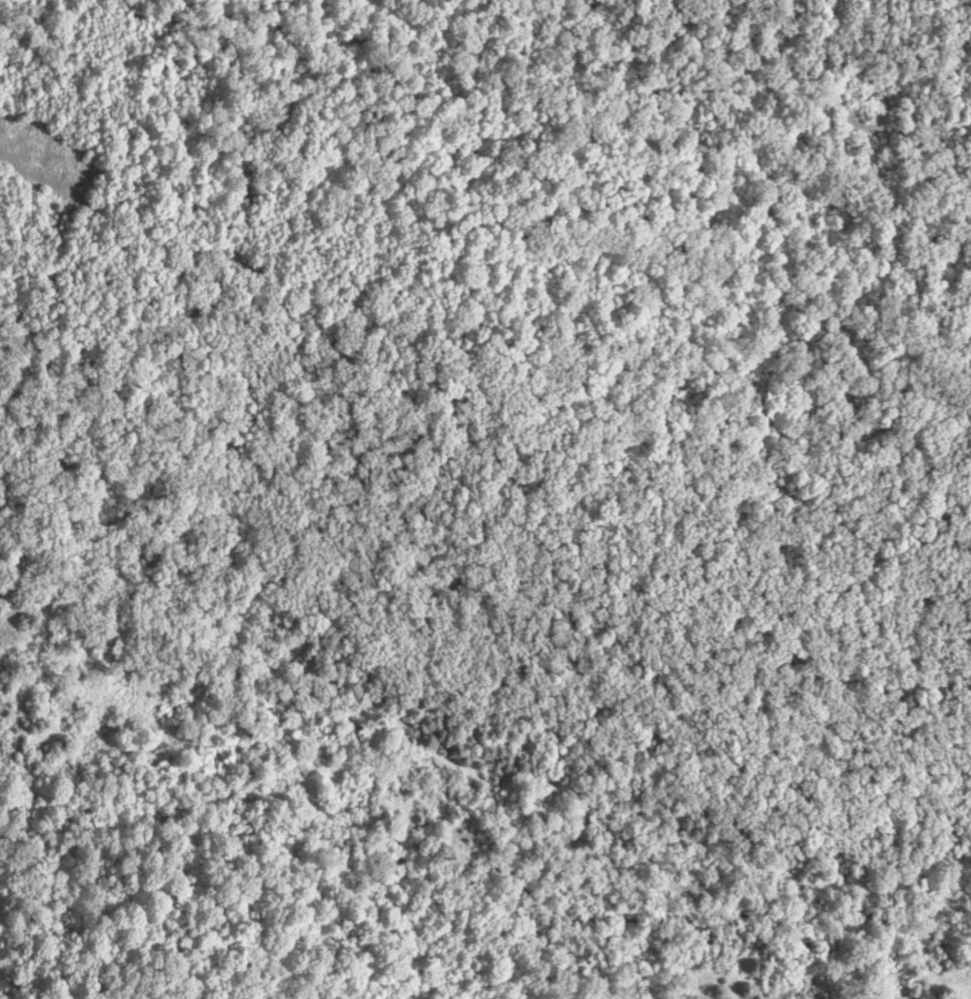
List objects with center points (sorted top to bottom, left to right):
road: (145, 421)

